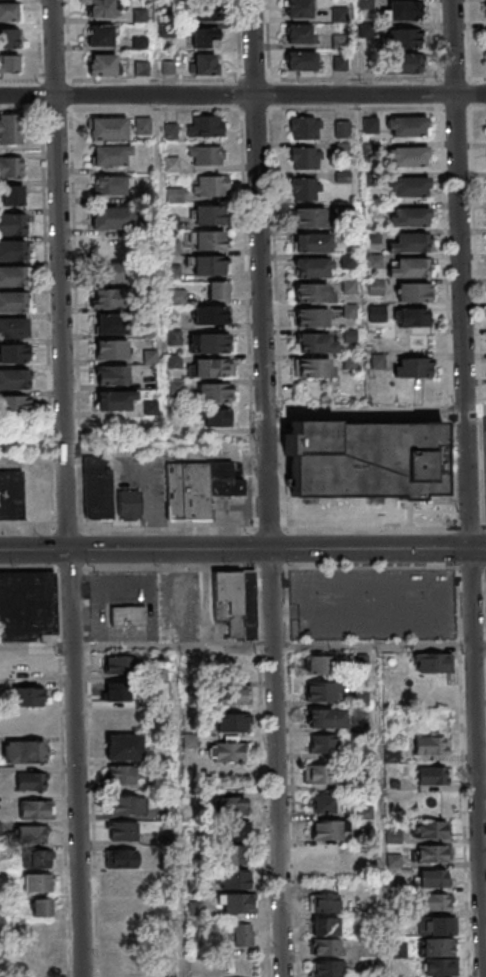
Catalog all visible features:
building: (100, 8)
building: (298, 8)
building: (485, 9)
building: (400, 10)
building: (8, 11)
building: (207, 11)
building: (339, 14)
building: (299, 33)
building: (100, 35)
building: (484, 36)
building: (203, 37)
building: (405, 37)
building: (8, 38)
road: (467, 39)
building: (339, 40)
building: (301, 61)
building: (339, 62)
building: (405, 62)
building: (8, 63)
building: (102, 63)
building: (205, 63)
building: (142, 67)
road: (477, 77)
road: (243, 95)
road: (478, 107)
road: (155, 108)
road: (355, 108)
building: (370, 124)
building: (143, 125)
building: (205, 125)
building: (306, 126)
building: (407, 126)
building: (107, 127)
building: (342, 128)
building: (10, 129)
building: (171, 130)
building: (369, 146)
building: (111, 155)
building: (205, 155)
building: (408, 156)
building: (306, 157)
building: (171, 163)
building: (11, 167)
building: (111, 184)
building: (211, 186)
building: (409, 187)
building: (306, 189)
building: (175, 194)
building: (11, 195)
road: (456, 204)
building: (208, 215)
building: (411, 216)
building: (112, 217)
building: (310, 218)
building: (12, 223)
building: (210, 240)
building: (312, 243)
building: (408, 243)
building: (111, 246)
building: (12, 250)
building: (375, 261)
building: (348, 262)
building: (210, 265)
building: (312, 268)
building: (409, 268)
building: (113, 272)
building: (12, 276)
building: (349, 286)
building: (375, 286)
building: (219, 289)
building: (414, 292)
building: (313, 293)
building: (108, 298)
building: (14, 301)
building: (350, 311)
building: (377, 312)
building: (211, 314)
road: (75, 317)
building: (312, 317)
building: (411, 317)
road: (250, 318)
road: (276, 318)
road: (447, 318)
road: (477, 318)
building: (113, 324)
building: (14, 327)
building: (349, 335)
building: (175, 337)
building: (210, 342)
building: (315, 342)
building: (111, 349)
building: (13, 353)
building: (349, 361)
building: (413, 366)
building: (211, 367)
building: (315, 368)
building: (112, 374)
building: (13, 379)
building: (214, 392)
building: (116, 400)
building: (14, 405)
road: (365, 410)
road: (474, 411)
building: (217, 416)
road: (134, 451)
building: (366, 457)
road: (466, 478)
building: (226, 480)
parking lot: (145, 483)
road: (64, 488)
road: (270, 488)
building: (98, 489)
building: (188, 491)
building: (13, 493)
building: (129, 504)
parking lot: (228, 508)
road: (432, 510)
road: (410, 512)
road: (485, 527)
road: (227, 528)
road: (470, 528)
road: (371, 549)
road: (477, 549)
road: (137, 550)
road: (131, 567)
road: (276, 568)
road: (388, 568)
parking lot: (123, 587)
road: (469, 597)
building: (231, 603)
building: (248, 604)
building: (27, 605)
parking lot: (180, 605)
parking lot: (377, 605)
building: (128, 615)
road: (242, 648)
building: (433, 662)
building: (118, 663)
building: (315, 664)
building: (322, 690)
building: (117, 691)
building: (231, 693)
building: (25, 694)
building: (326, 716)
building: (120, 717)
building: (231, 720)
building: (324, 742)
building: (432, 744)
building: (123, 747)
building: (231, 751)
building: (26, 752)
road: (62, 772)
road: (91, 772)
road: (294, 772)
road: (466, 772)
road: (265, 773)
building: (318, 773)
building: (121, 774)
building: (434, 774)
building: (31, 781)
building: (323, 803)
building: (125, 804)
building: (229, 805)
building: (36, 809)
road: (383, 811)
road: (476, 811)
road: (183, 812)
building: (328, 828)
building: (229, 829)
building: (433, 829)
building: (122, 831)
building: (34, 833)
building: (434, 853)
building: (233, 854)
building: (326, 854)
building: (122, 858)
building: (36, 859)
building: (235, 878)
building: (434, 878)
building: (37, 882)
building: (122, 882)
building: (234, 901)
building: (436, 901)
building: (325, 902)
building: (42, 906)
building: (125, 906)
building: (437, 925)
building: (324, 926)
building: (243, 934)
building: (328, 946)
building: (438, 946)
building: (325, 967)
building: (437, 967)

